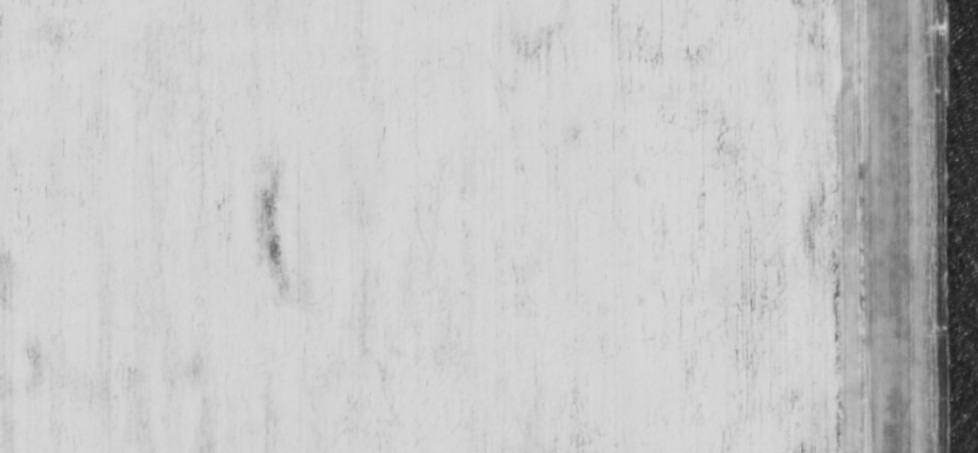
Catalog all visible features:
wastewater plant: (943, 225)
crop: (421, 226)

